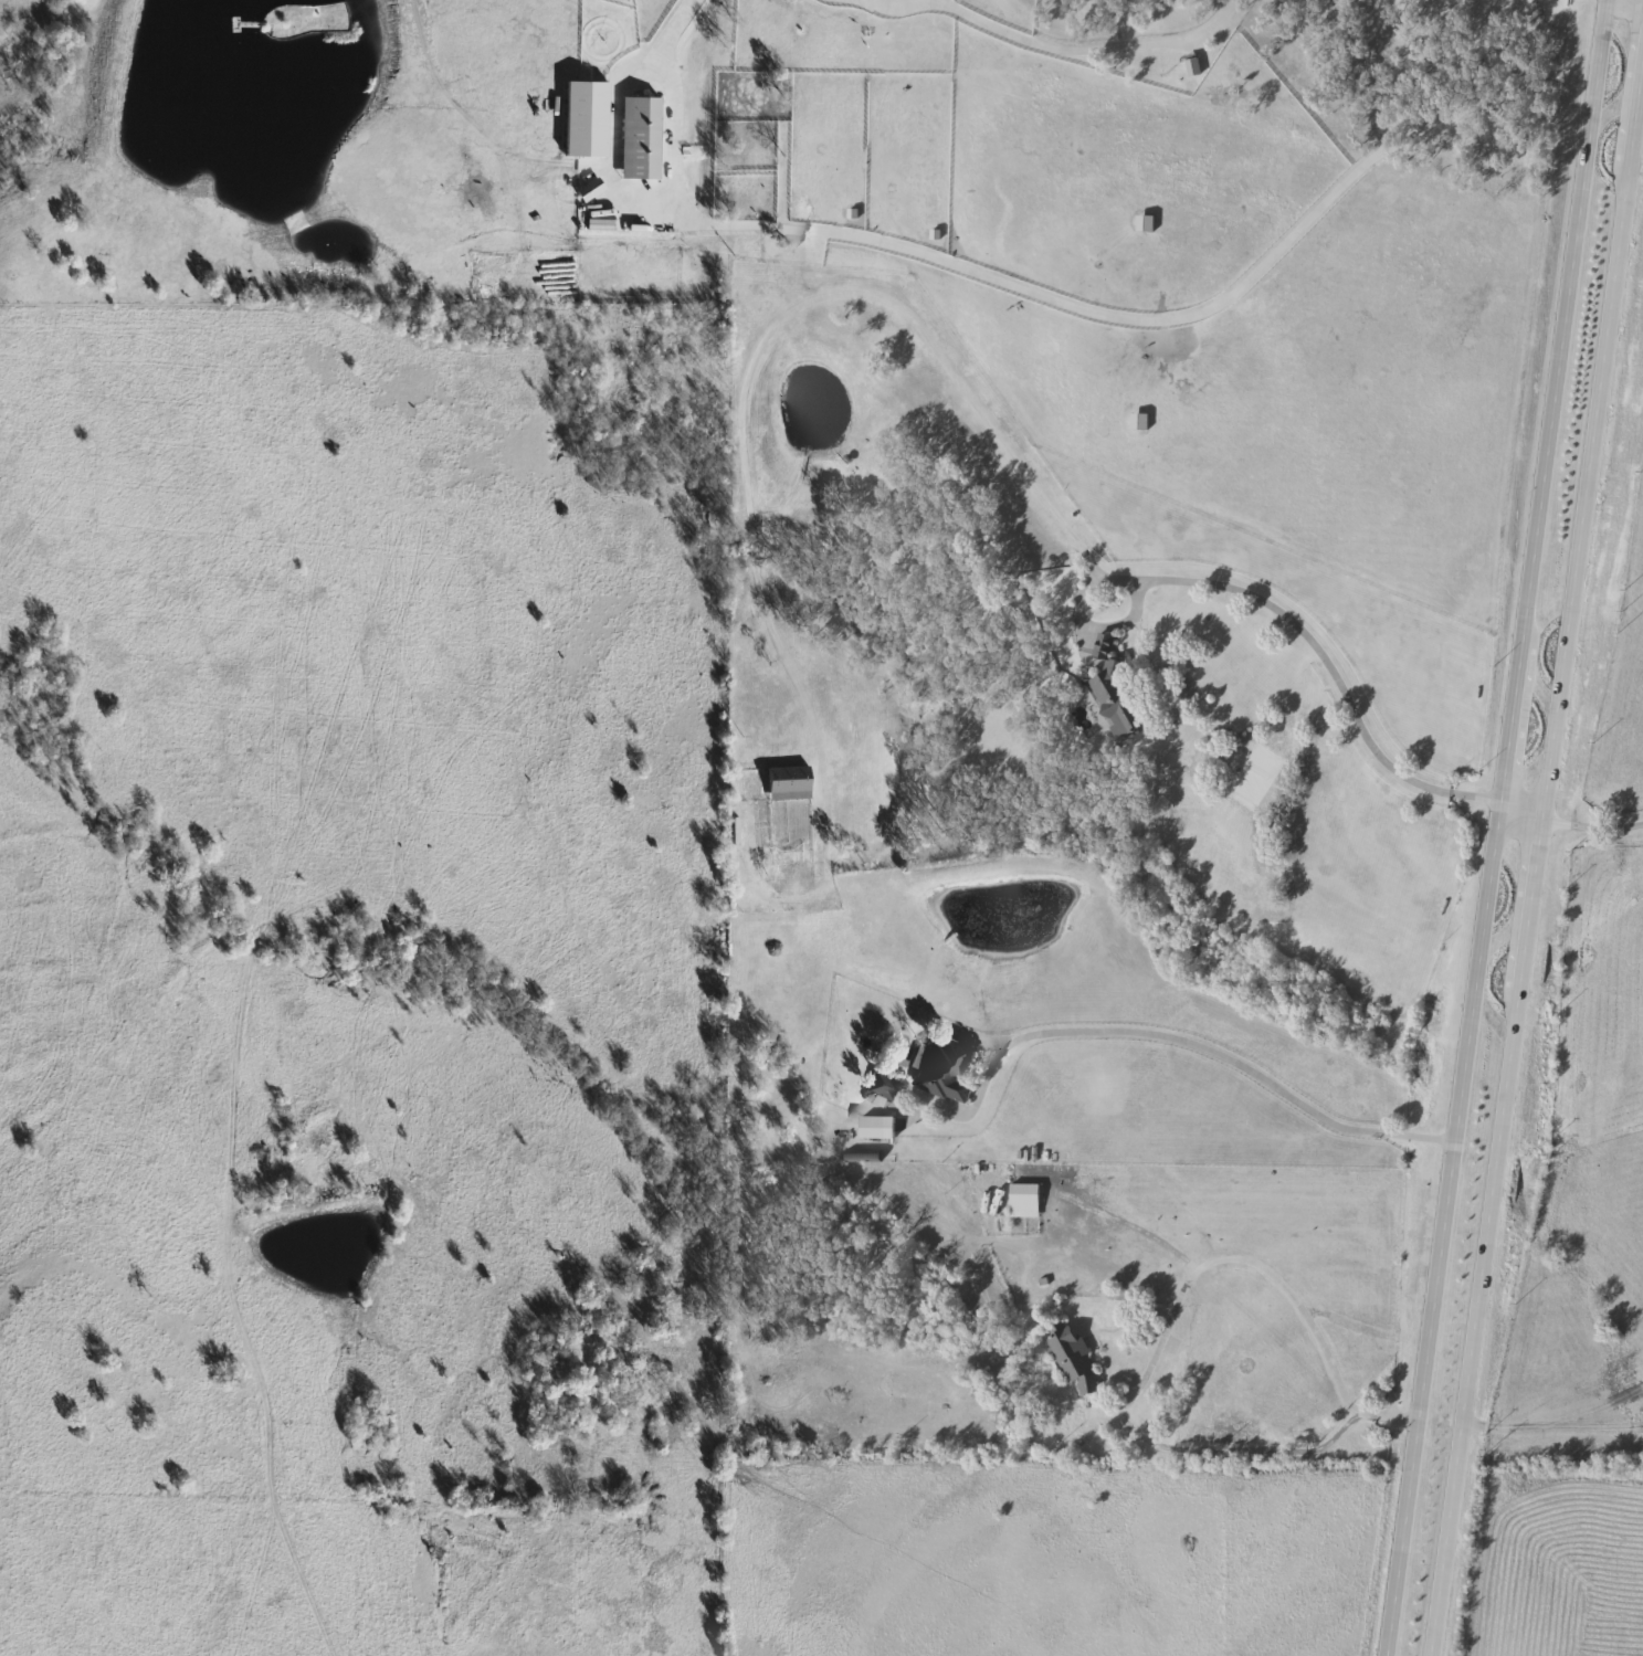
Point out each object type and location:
road: (1641, 0)
road: (894, 11)
road: (1084, 50)
building: (1191, 66)
road: (666, 109)
road: (611, 137)
building: (639, 138)
building: (589, 190)
road: (1156, 320)
road: (978, 412)
building: (1113, 693)
building: (788, 782)
road: (1515, 820)
road: (1492, 827)
road: (1589, 827)
road: (1533, 841)
road: (1188, 1044)
building: (944, 1069)
building: (883, 1086)
building: (875, 1128)
building: (1023, 1199)
road: (1162, 1325)
building: (1072, 1357)

